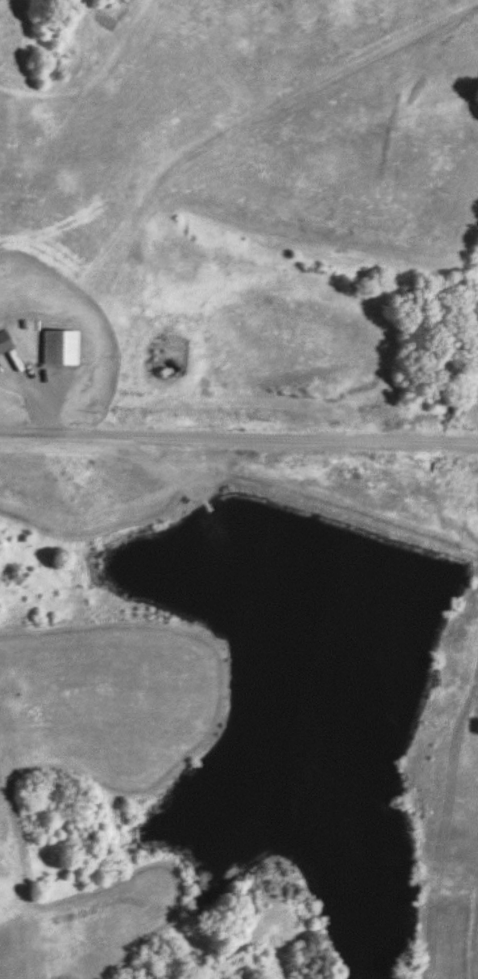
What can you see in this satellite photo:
building: (6, 342)
building: (63, 346)
road: (37, 386)
road: (238, 438)

